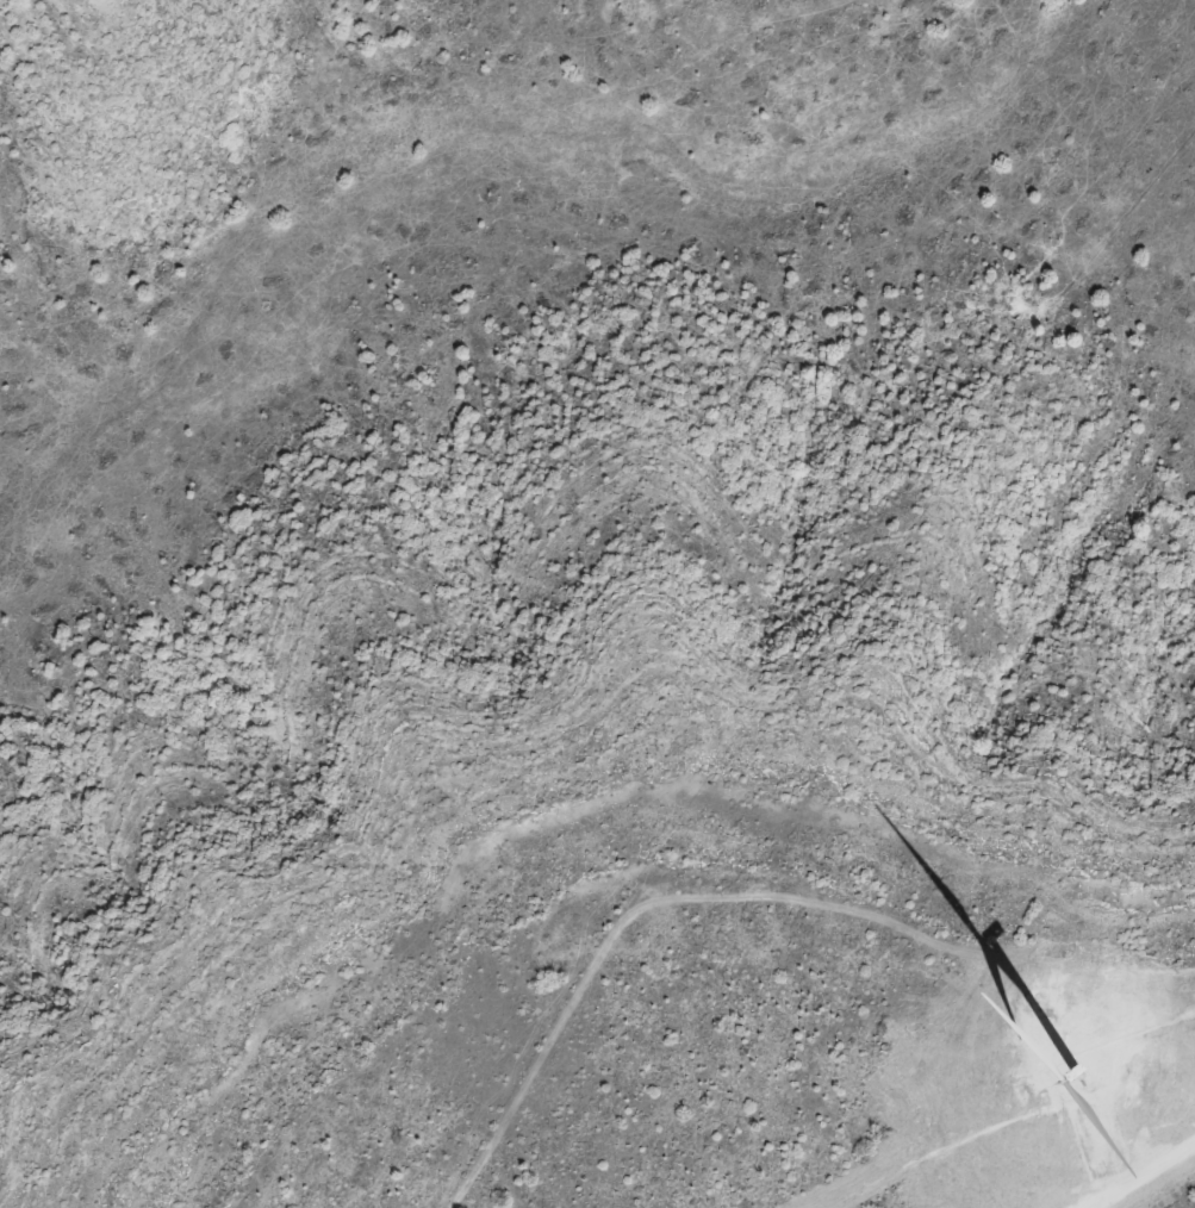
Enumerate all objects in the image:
wind turbine: (1066, 1069)

